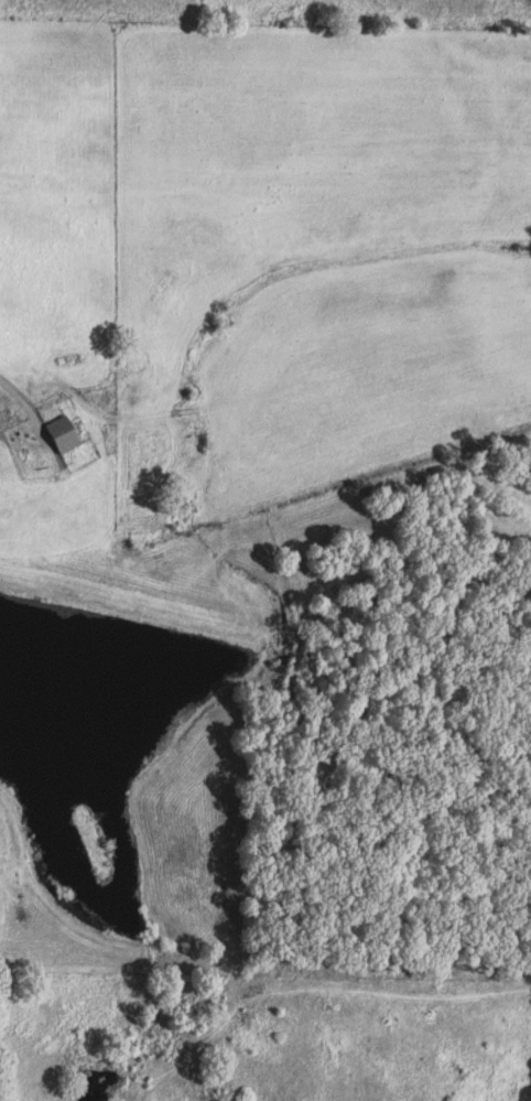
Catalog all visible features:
building: (73, 433)

